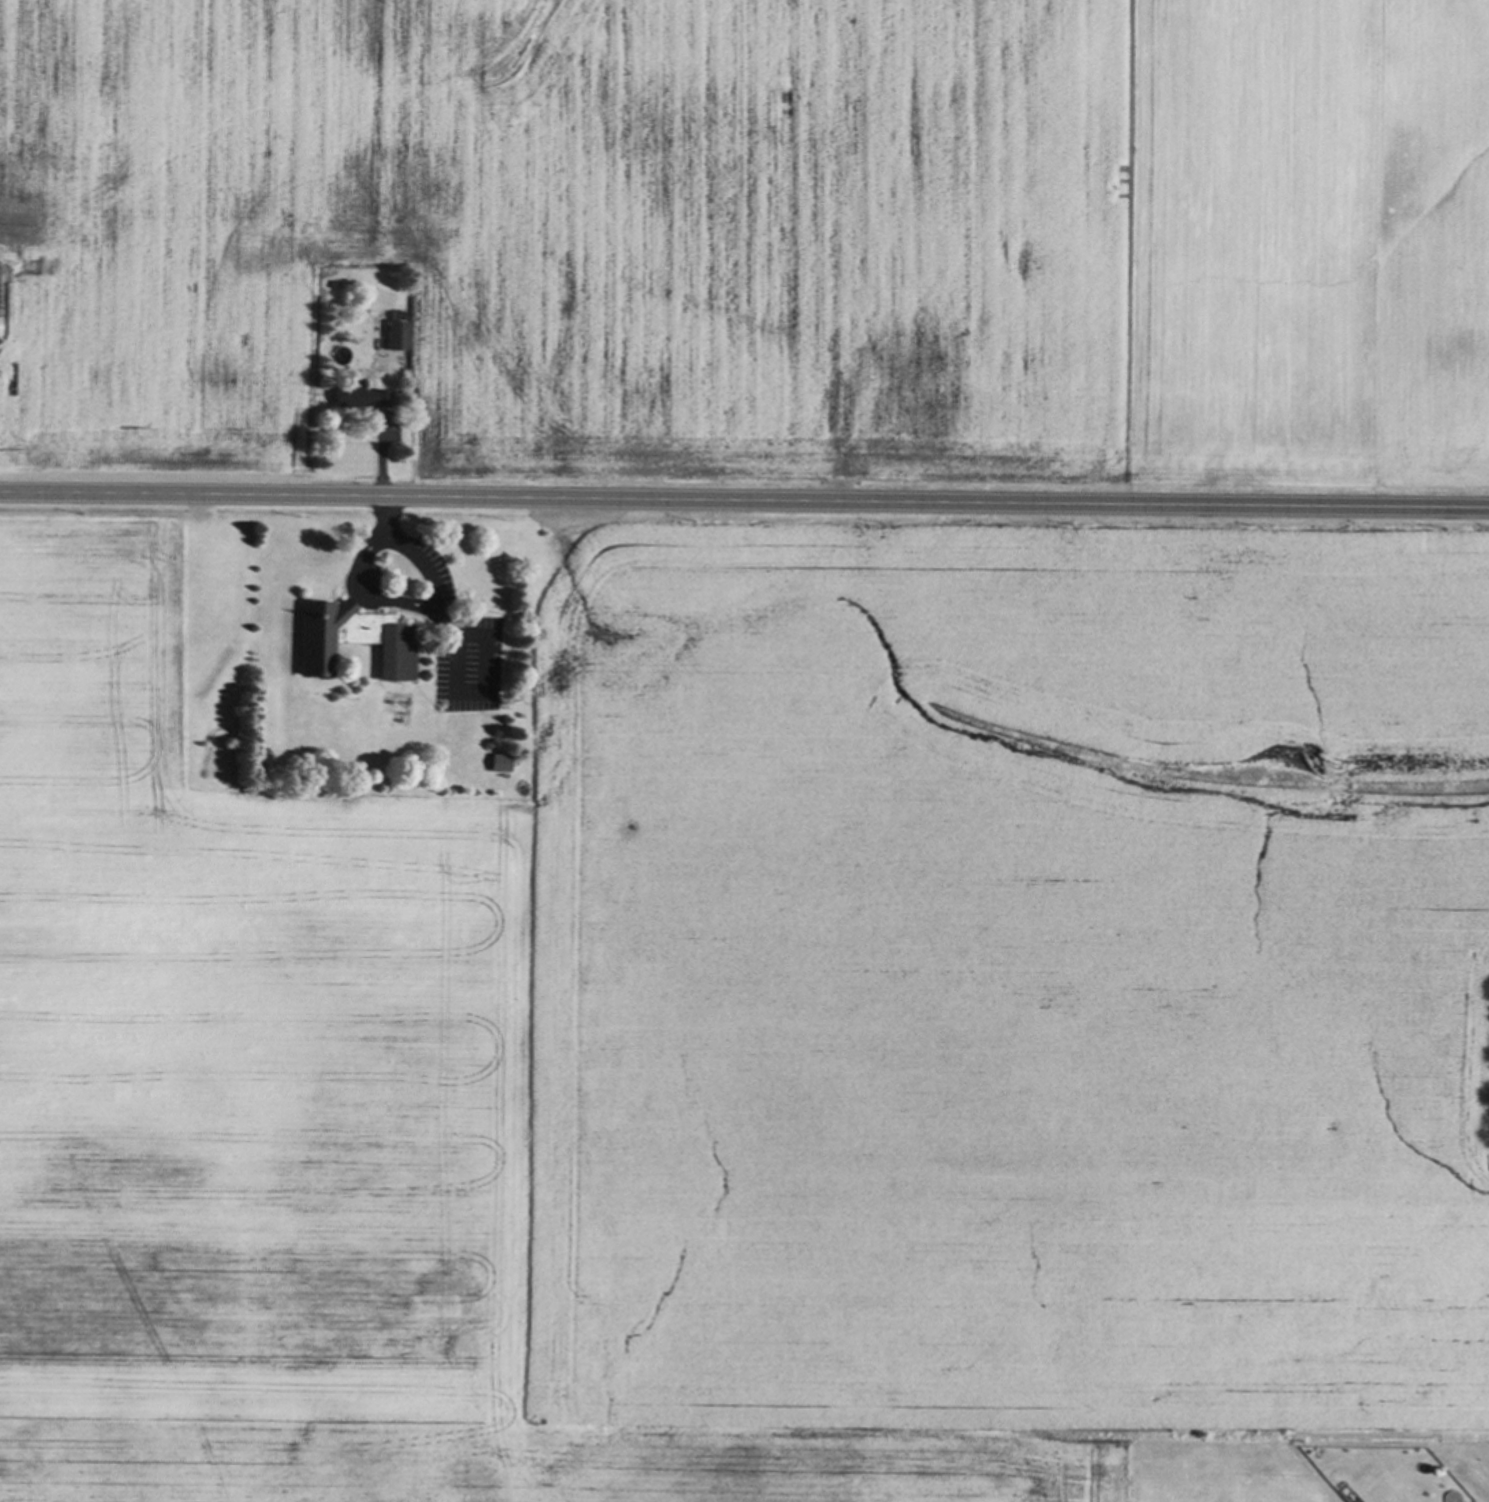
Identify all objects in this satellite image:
crop: (761, 236)
building: (395, 331)
building: (358, 397)
road: (744, 501)
road: (386, 516)
road: (372, 545)
road: (421, 561)
road: (382, 599)
building: (351, 641)
parking lot: (461, 648)
road: (464, 692)
building: (500, 762)
crop: (758, 1030)

